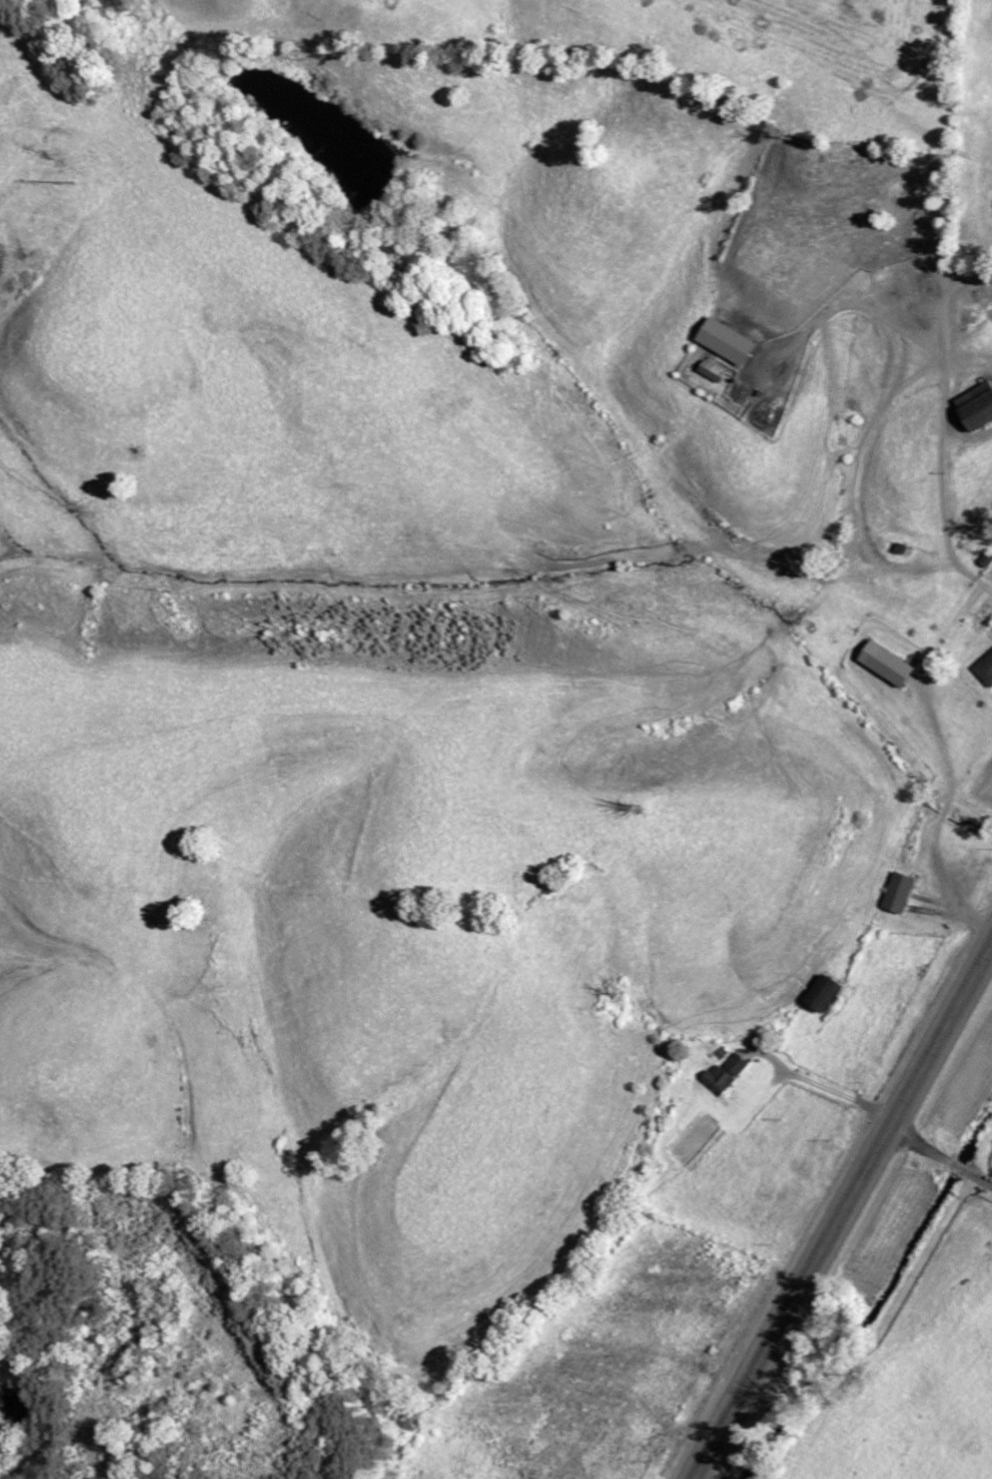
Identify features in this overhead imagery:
building: (732, 342)
building: (718, 372)
building: (979, 407)
building: (988, 560)
building: (892, 664)
building: (987, 669)
building: (900, 892)
building: (826, 992)
building: (728, 1074)
road: (841, 1210)

